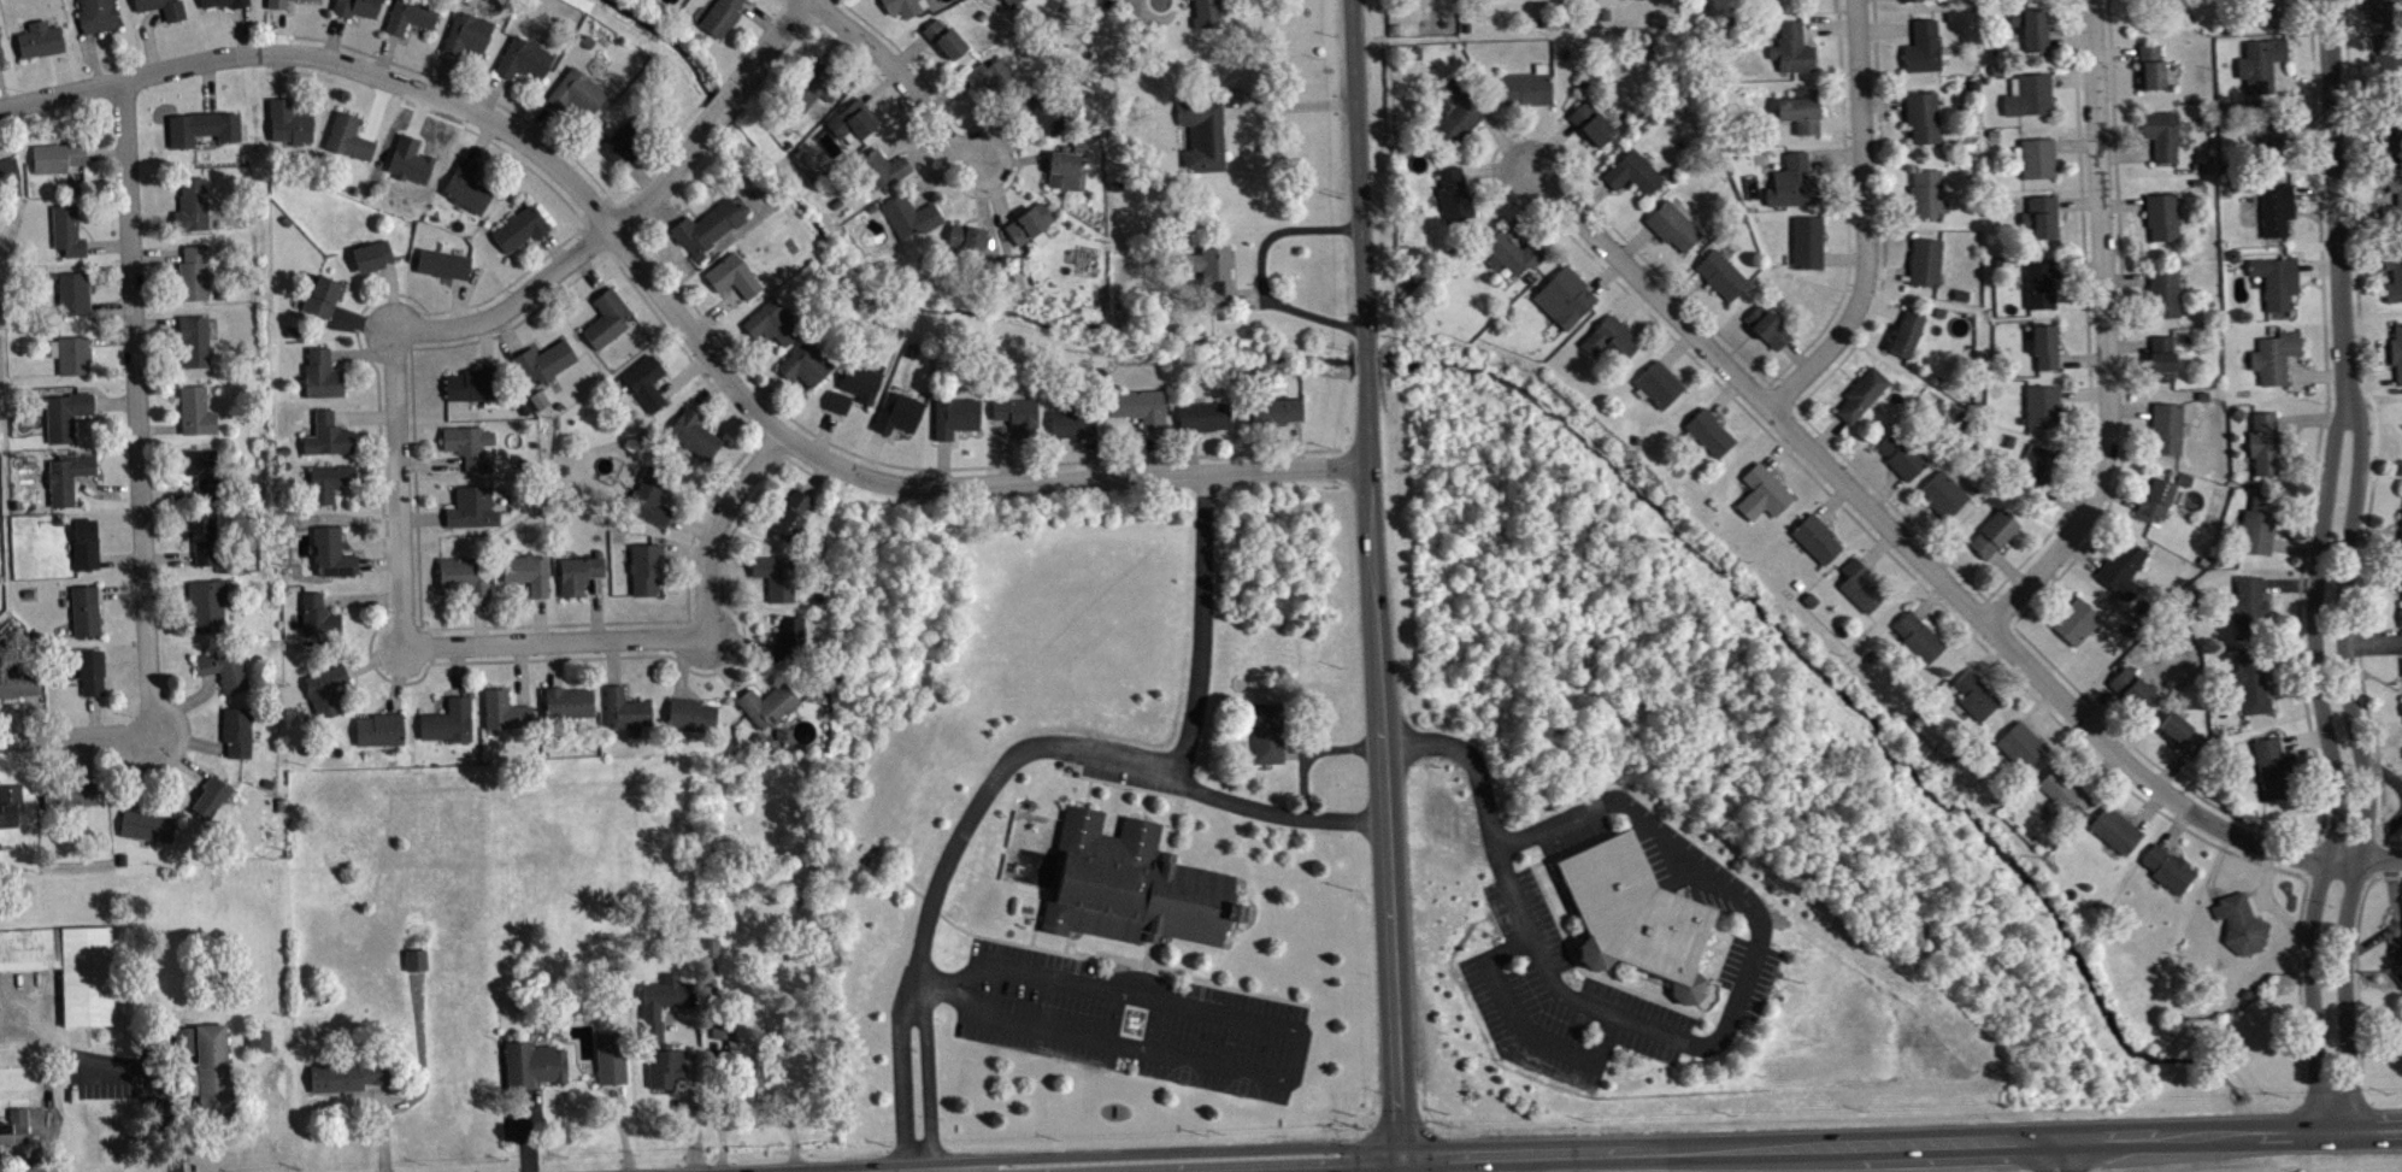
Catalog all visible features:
road: (784, 0)
building: (1184, 0)
building: (2178, 0)
building: (1520, 1)
building: (1646, 1)
building: (222, 2)
building: (275, 2)
building: (1011, 2)
building: (1914, 2)
building: (900, 6)
building: (161, 7)
building: (354, 7)
road: (818, 10)
building: (2388, 13)
building: (96, 14)
building: (408, 14)
building: (1205, 14)
building: (720, 16)
road: (773, 17)
building: (466, 33)
building: (2035, 34)
building: (39, 39)
building: (942, 39)
road: (769, 41)
building: (1926, 53)
road: (744, 55)
building: (1795, 55)
building: (522, 58)
building: (0, 61)
building: (2154, 72)
building: (2263, 72)
building: (2391, 72)
road: (905, 75)
building: (995, 77)
building: (808, 86)
building: (576, 92)
building: (1530, 93)
road: (712, 98)
building: (2032, 101)
road: (722, 102)
building: (1052, 107)
road: (508, 110)
building: (1461, 116)
building: (1803, 117)
building: (288, 122)
building: (849, 122)
building: (1925, 123)
building: (200, 126)
building: (1595, 130)
building: (1201, 135)
building: (347, 136)
building: (2394, 137)
building: (626, 141)
building: (2165, 141)
building: (2272, 152)
building: (57, 155)
building: (407, 159)
building: (2041, 164)
building: (881, 167)
building: (1061, 169)
building: (7, 170)
road: (1358, 173)
building: (1636, 178)
building: (465, 187)
building: (1797, 188)
road: (997, 193)
building: (1930, 199)
building: (1458, 201)
building: (2401, 205)
building: (192, 206)
road: (594, 207)
building: (909, 216)
building: (2279, 216)
road: (1867, 219)
building: (1028, 222)
building: (2044, 223)
building: (2165, 223)
building: (707, 224)
building: (519, 228)
building: (66, 230)
building: (1677, 232)
building: (966, 236)
road: (596, 237)
building: (1811, 248)
building: (371, 254)
building: (1517, 259)
road: (566, 260)
building: (442, 263)
building: (1929, 267)
building: (192, 272)
road: (1260, 272)
building: (1211, 273)
building: (731, 276)
building: (1725, 279)
building: (2398, 282)
building: (2279, 287)
building: (2043, 290)
building: (71, 291)
building: (320, 295)
building: (2167, 299)
building: (1568, 304)
road: (671, 305)
building: (606, 318)
building: (772, 322)
road: (670, 330)
road: (2112, 331)
building: (1771, 334)
building: (194, 340)
building: (1909, 340)
building: (1613, 344)
building: (70, 353)
building: (2048, 353)
building: (2398, 357)
road: (1365, 359)
building: (543, 360)
building: (2278, 363)
building: (803, 364)
building: (2166, 365)
building: (319, 375)
building: (644, 382)
building: (859, 382)
building: (477, 384)
building: (1662, 390)
building: (538, 399)
building: (837, 401)
building: (1865, 401)
road: (136, 406)
building: (1138, 406)
building: (194, 410)
building: (897, 411)
building: (1276, 411)
building: (2045, 412)
building: (65, 413)
building: (1017, 414)
building: (954, 416)
building: (1203, 416)
building: (1071, 422)
building: (694, 434)
building: (326, 435)
building: (2171, 435)
building: (1712, 440)
building: (467, 443)
road: (770, 446)
building: (2267, 449)
road: (785, 458)
building: (1903, 460)
road: (919, 467)
building: (202, 470)
road: (381, 470)
building: (2038, 470)
building: (66, 476)
building: (328, 481)
road: (396, 490)
building: (649, 499)
building: (1766, 499)
building: (1945, 501)
building: (471, 506)
building: (2157, 506)
building: (789, 514)
road: (716, 525)
building: (2262, 531)
building: (201, 537)
building: (1996, 540)
building: (84, 544)
building: (1820, 546)
building: (330, 552)
road: (2335, 564)
building: (644, 567)
road: (1941, 569)
building: (526, 572)
building: (577, 573)
building: (775, 575)
building: (2125, 576)
building: (461, 577)
building: (2401, 581)
building: (1862, 591)
building: (208, 602)
building: (84, 609)
building: (2251, 612)
building: (317, 616)
road: (1203, 622)
building: (2079, 628)
building: (789, 637)
road: (553, 642)
building: (1921, 643)
road: (426, 646)
building: (222, 670)
building: (87, 671)
building: (18, 681)
building: (2256, 688)
building: (324, 689)
building: (2136, 696)
building: (1978, 701)
building: (567, 702)
building: (767, 703)
building: (624, 708)
building: (504, 709)
building: (691, 714)
building: (448, 720)
building: (378, 728)
building: (236, 730)
building: (1267, 731)
road: (77, 737)
building: (2184, 740)
road: (1070, 747)
building: (2023, 753)
road: (1385, 764)
building: (2276, 776)
building: (67, 794)
building: (210, 796)
building: (2066, 799)
building: (8, 803)
building: (145, 824)
building: (2118, 836)
parking lot: (1647, 849)
road: (1700, 868)
building: (2171, 874)
building: (1130, 884)
road: (1515, 899)
building: (1635, 908)
building: (2242, 930)
building: (713, 954)
building: (414, 959)
building: (2398, 959)
building: (67, 966)
parking lot: (1748, 974)
road: (1042, 982)
parking lot: (1556, 995)
parking lot: (1129, 1020)
building: (722, 1025)
building: (652, 1030)
road: (1524, 1030)
road: (1017, 1032)
building: (258, 1040)
road: (1305, 1048)
building: (610, 1055)
building: (532, 1064)
building: (205, 1066)
building: (346, 1074)
building: (752, 1076)
road: (163, 1084)
road: (905, 1089)
road: (932, 1090)
road: (695, 1102)
road: (398, 1111)
building: (14, 1126)
road: (1900, 1143)
road: (1172, 1153)
road: (2044, 1155)
road: (2067, 1155)
traffic signals: (1399, 1160)
road: (1397, 1166)
road: (1400, 1166)
road: (1313, 1168)

